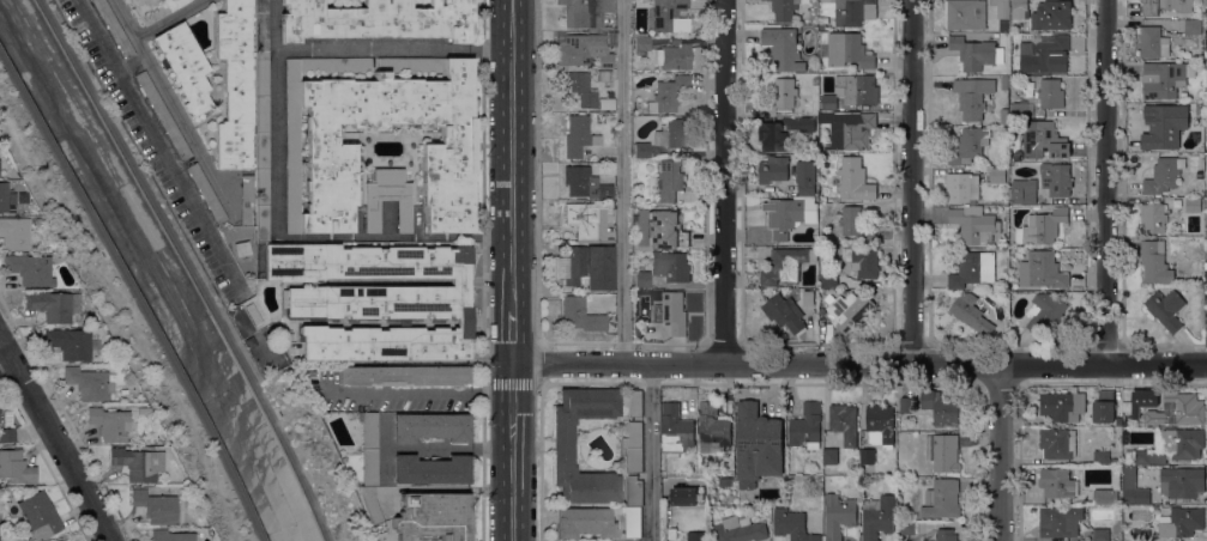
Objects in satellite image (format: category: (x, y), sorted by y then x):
building: (1164, 6)
building: (1000, 7)
building: (152, 8)
building: (785, 8)
building: (1019, 8)
building: (850, 11)
building: (587, 13)
building: (964, 14)
building: (1051, 14)
building: (1206, 14)
building: (669, 16)
road: (169, 19)
building: (378, 20)
building: (261, 25)
building: (1193, 28)
building: (114, 29)
building: (1153, 42)
building: (641, 45)
building: (784, 48)
building: (846, 49)
road: (392, 50)
building: (583, 50)
building: (976, 53)
building: (1045, 54)
building: (672, 57)
road: (129, 65)
building: (185, 67)
building: (603, 77)
building: (1165, 78)
building: (815, 80)
building: (1004, 83)
building: (235, 85)
building: (857, 89)
building: (581, 90)
building: (1051, 93)
building: (669, 95)
building: (972, 96)
building: (781, 97)
building: (1206, 97)
building: (829, 102)
building: (605, 104)
road: (170, 107)
building: (1201, 108)
building: (1020, 109)
building: (163, 116)
building: (1004, 116)
building: (807, 124)
building: (1167, 127)
building: (849, 129)
building: (1006, 130)
building: (672, 135)
building: (578, 136)
building: (774, 138)
building: (1043, 140)
road: (156, 144)
building: (970, 145)
building: (261, 146)
parking lot: (152, 150)
building: (641, 151)
building: (447, 159)
building: (773, 170)
road: (536, 171)
building: (997, 175)
building: (1164, 175)
building: (805, 177)
building: (1056, 178)
building: (855, 180)
building: (669, 181)
road: (622, 182)
road: (724, 182)
road: (912, 182)
road: (1103, 182)
building: (583, 184)
building: (962, 187)
building: (1024, 192)
building: (206, 194)
building: (5, 197)
building: (387, 199)
building: (247, 201)
building: (19, 212)
building: (1165, 214)
building: (791, 215)
building: (585, 220)
building: (968, 221)
building: (856, 224)
building: (1042, 226)
building: (665, 230)
building: (14, 233)
road: (274, 237)
building: (605, 242)
building: (862, 261)
building: (1155, 262)
building: (670, 266)
building: (784, 266)
building: (1206, 266)
building: (589, 267)
road: (187, 268)
road: (482, 269)
road: (512, 269)
building: (973, 269)
building: (1046, 269)
building: (29, 270)
building: (1206, 273)
building: (641, 279)
building: (829, 279)
building: (1013, 285)
road: (134, 296)
building: (808, 298)
building: (375, 300)
building: (53, 305)
building: (634, 305)
building: (1166, 309)
building: (850, 310)
park: (121, 311)
building: (968, 311)
building: (672, 312)
building: (1044, 312)
building: (579, 315)
building: (784, 316)
road: (277, 327)
building: (1206, 330)
park: (257, 341)
building: (71, 345)
building: (119, 361)
road: (537, 363)
road: (6, 364)
road: (859, 365)
building: (404, 376)
building: (87, 384)
road: (421, 393)
building: (634, 403)
building: (906, 405)
building: (1062, 406)
building: (1104, 406)
building: (941, 407)
building: (144, 408)
building: (1134, 408)
building: (1178, 409)
building: (881, 420)
building: (844, 423)
building: (109, 424)
building: (713, 424)
building: (805, 426)
building: (430, 427)
building: (369, 430)
building: (676, 430)
building: (7, 436)
road: (55, 440)
building: (1179, 442)
building: (1055, 443)
building: (563, 446)
building: (749, 446)
building: (633, 448)
road: (652, 452)
building: (945, 452)
road: (998, 452)
building: (868, 455)
park: (309, 456)
building: (831, 456)
building: (1136, 456)
building: (1102, 457)
building: (1115, 460)
road: (539, 462)
building: (138, 463)
building: (16, 468)
building: (369, 468)
building: (430, 470)
building: (1141, 476)
building: (1185, 482)
building: (1057, 485)
building: (1109, 488)
building: (634, 491)
building: (687, 496)
building: (1142, 496)
building: (942, 499)
building: (370, 505)
building: (156, 507)
building: (839, 515)
building: (38, 516)
building: (433, 516)
building: (877, 517)
building: (199, 519)
building: (632, 521)
building: (1061, 521)
building: (1181, 522)
building: (583, 523)
building: (792, 525)
building: (907, 527)
building: (740, 529)
building: (671, 533)
building: (1097, 534)
building: (1141, 534)
building: (945, 535)
building: (170, 536)
building: (696, 536)

